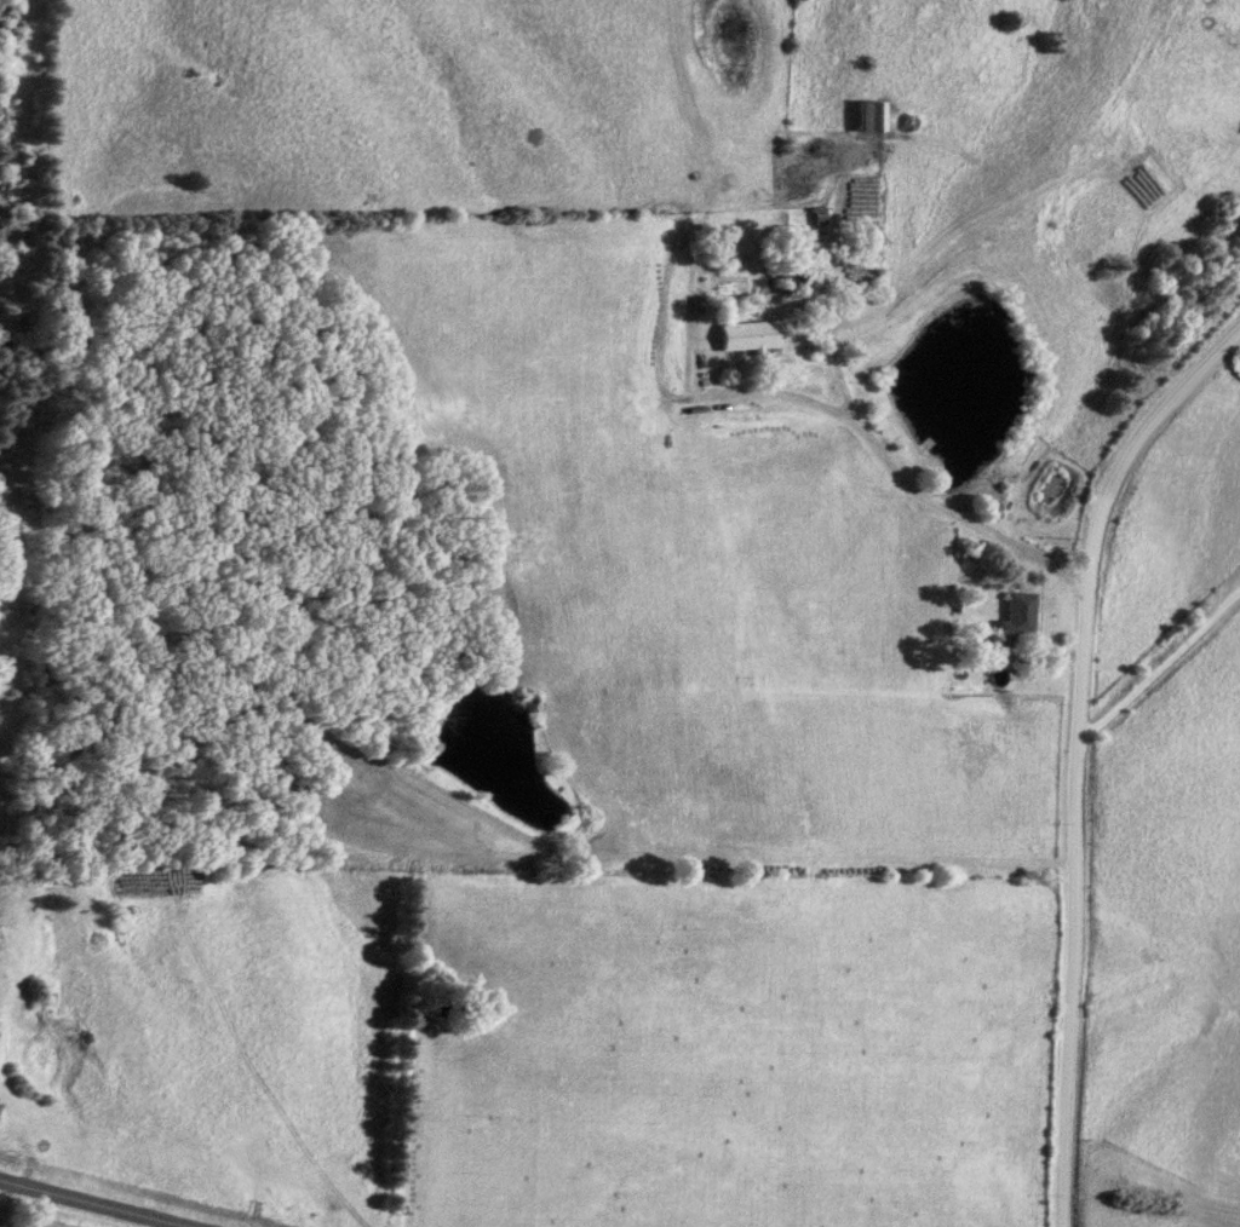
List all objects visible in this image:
building: (866, 117)
building: (783, 280)
building: (744, 336)
road: (788, 394)
road: (865, 439)
building: (1012, 615)
road: (1161, 678)
road: (1080, 754)
road: (5, 1200)
road: (80, 1206)

